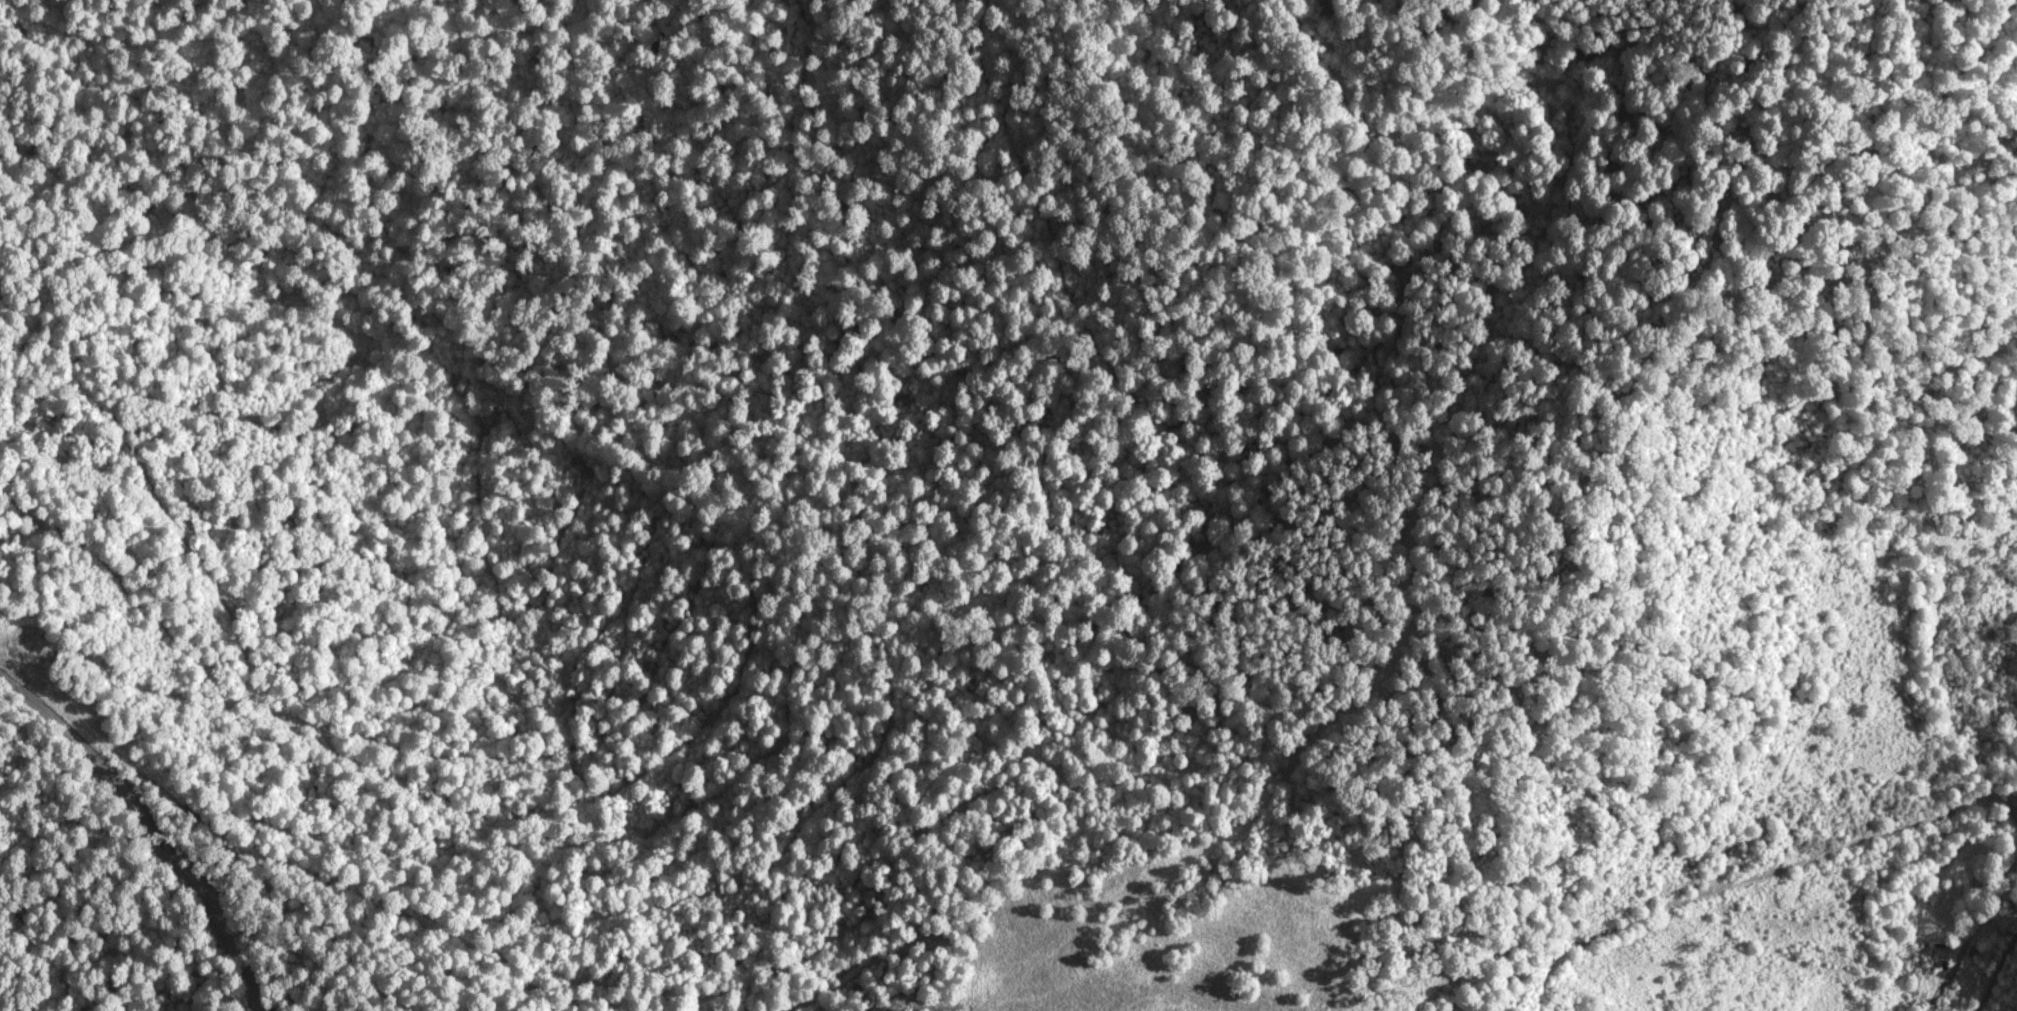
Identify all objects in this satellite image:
road: (152, 829)
building: (1939, 954)

